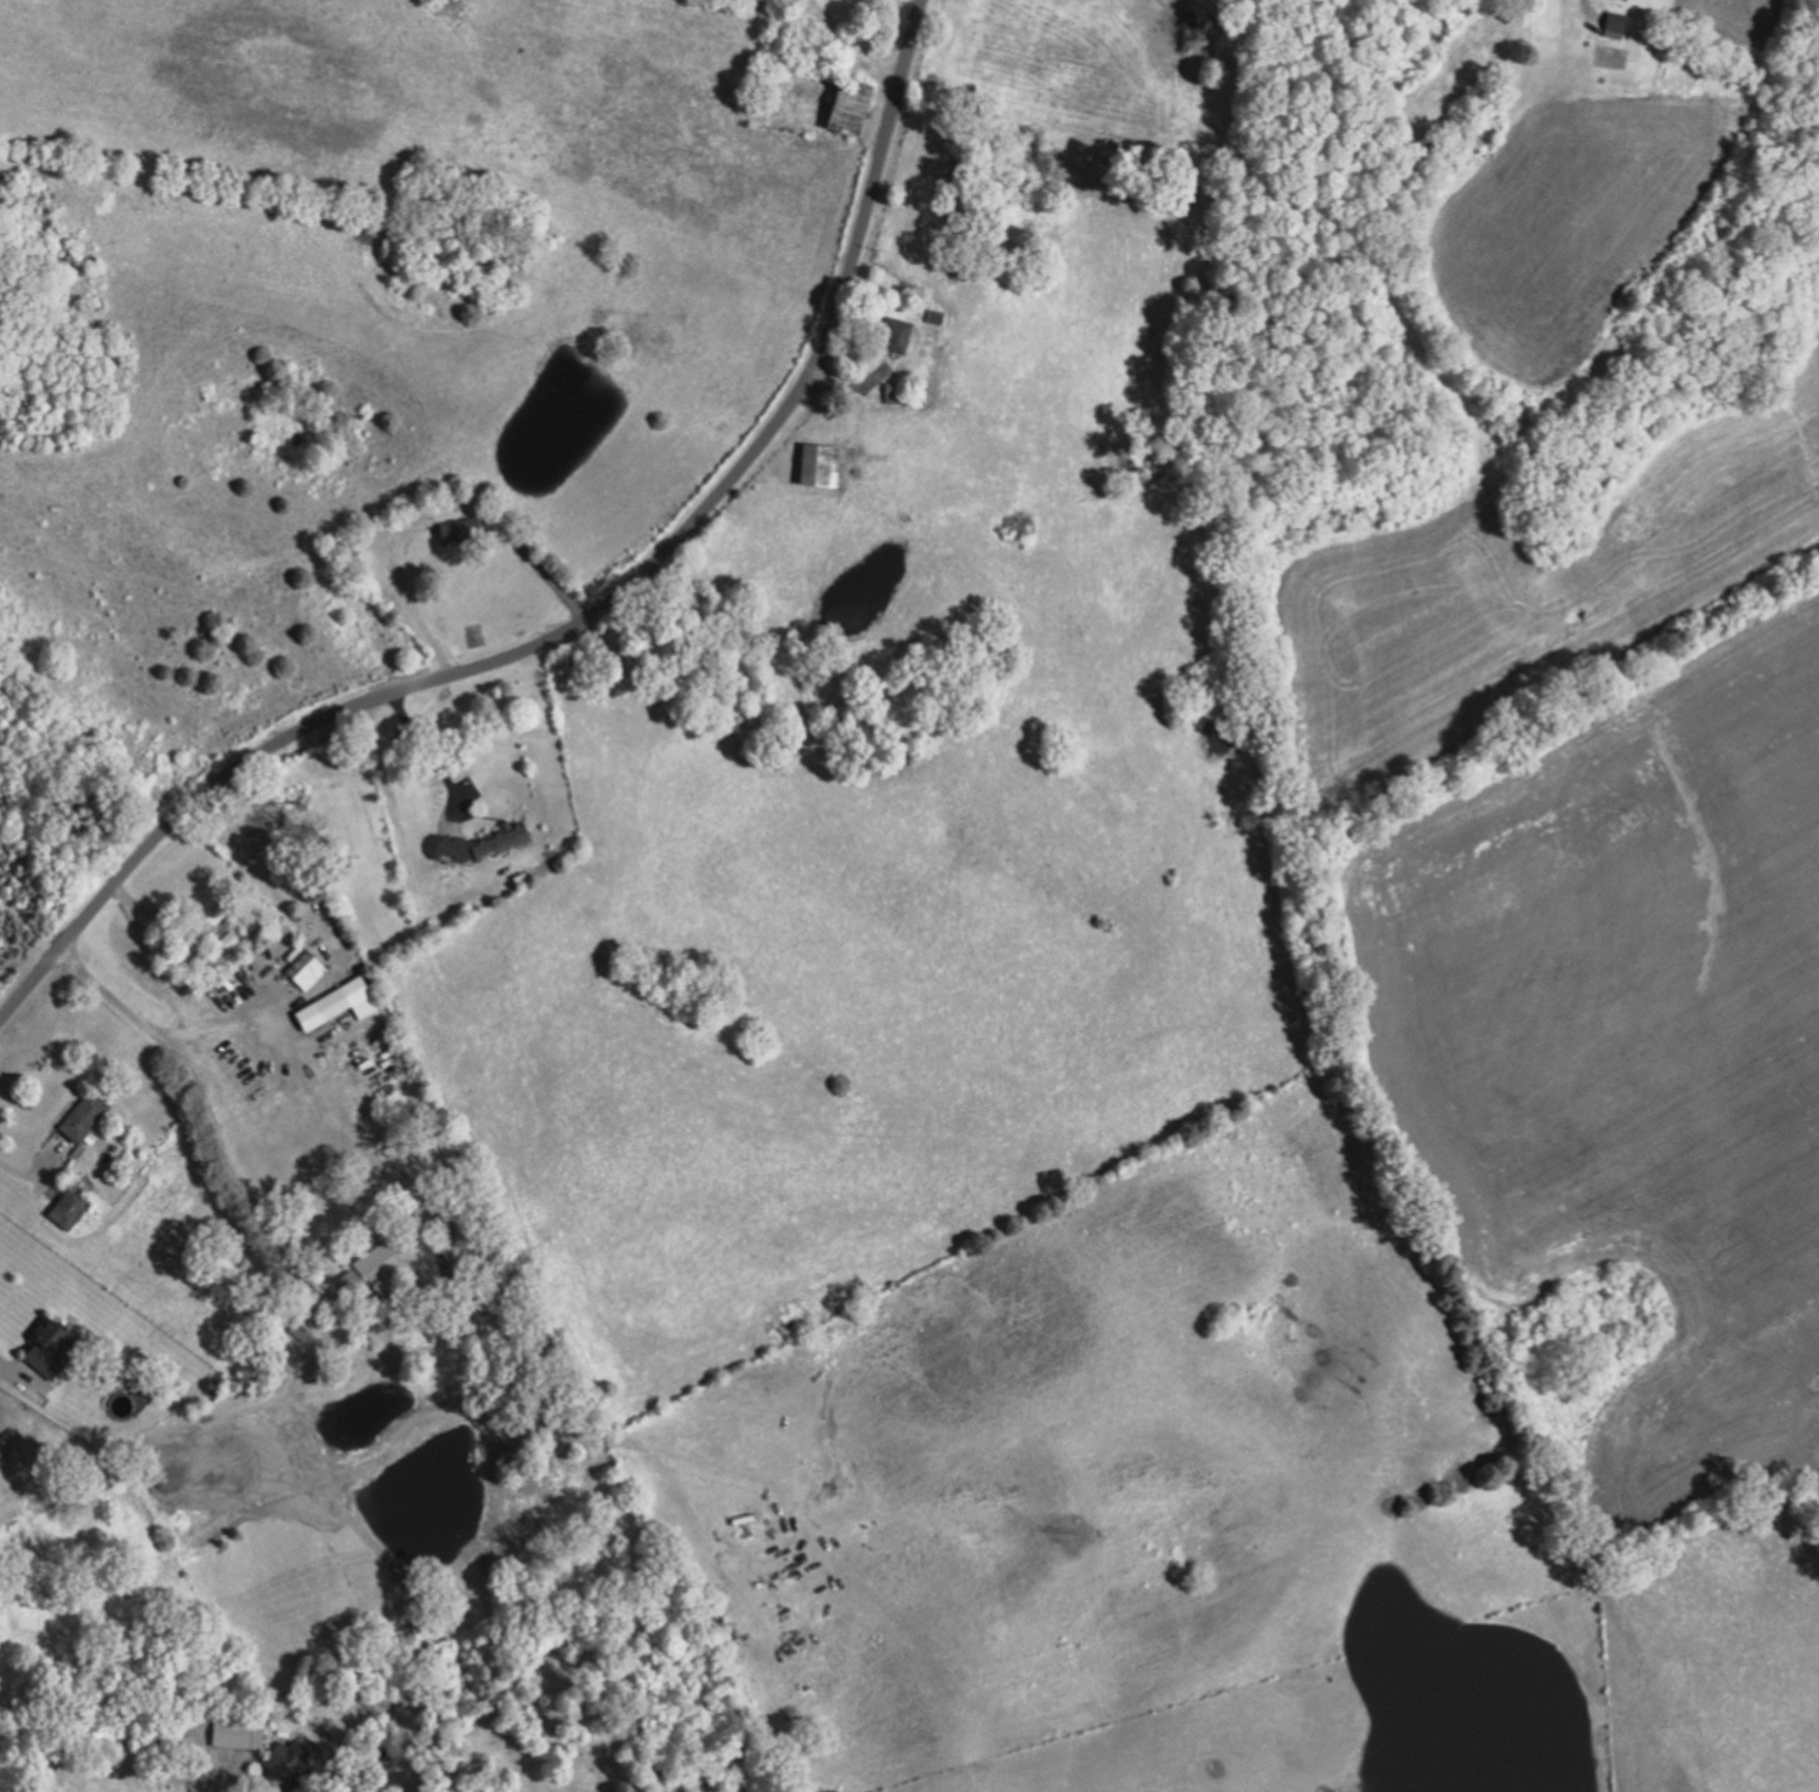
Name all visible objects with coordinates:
road: (1585, 15)
building: (1618, 24)
building: (1227, 50)
building: (857, 106)
building: (899, 334)
building: (823, 465)
building: (461, 530)
road: (581, 619)
building: (501, 840)
building: (451, 846)
building: (211, 922)
building: (258, 961)
building: (308, 971)
building: (325, 1009)
road: (148, 1036)
building: (87, 1120)
road: (11, 1177)
building: (73, 1208)
building: (374, 1269)
building: (51, 1346)
road: (5, 1379)
building: (241, 1735)
building: (290, 1760)

